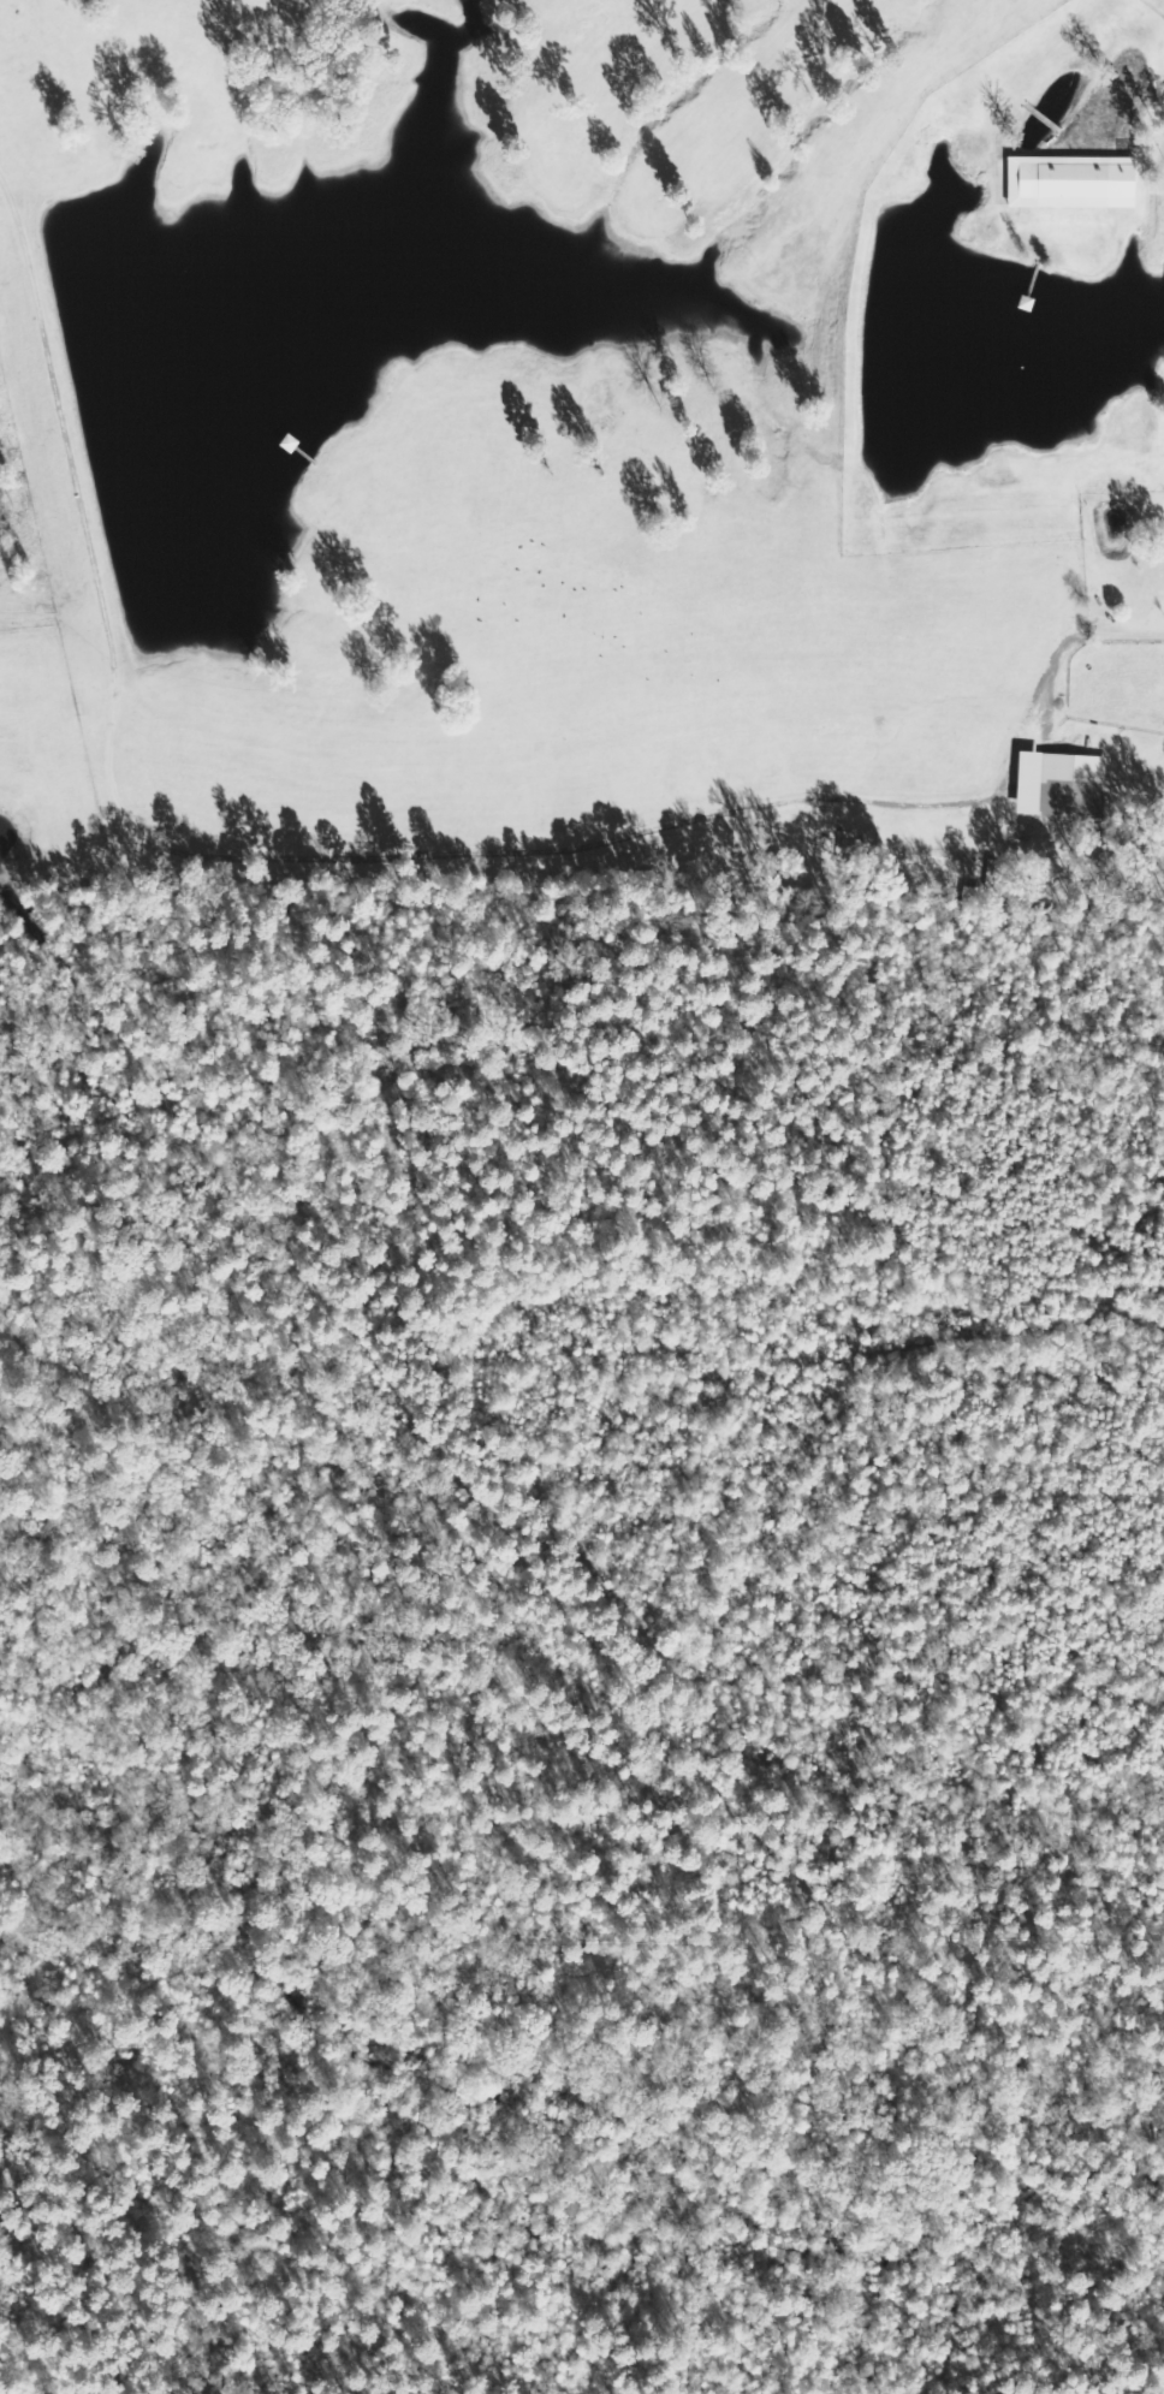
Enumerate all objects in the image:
road: (1145, 95)
building: (1070, 180)
building: (1068, 796)
road: (372, 853)

